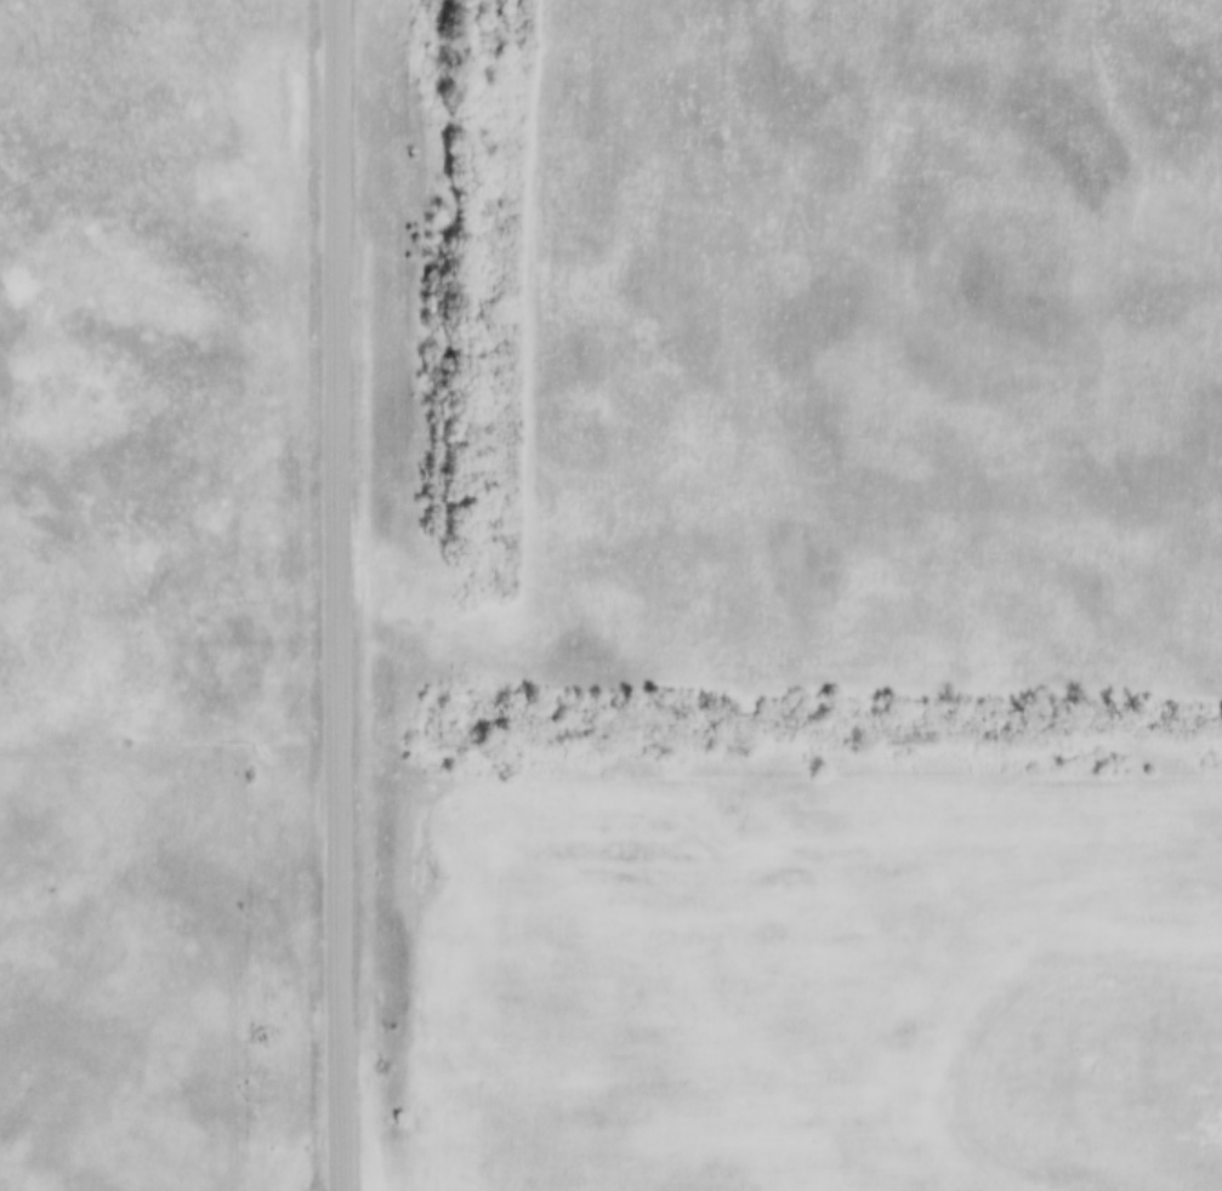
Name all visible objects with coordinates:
road: (340, 595)

